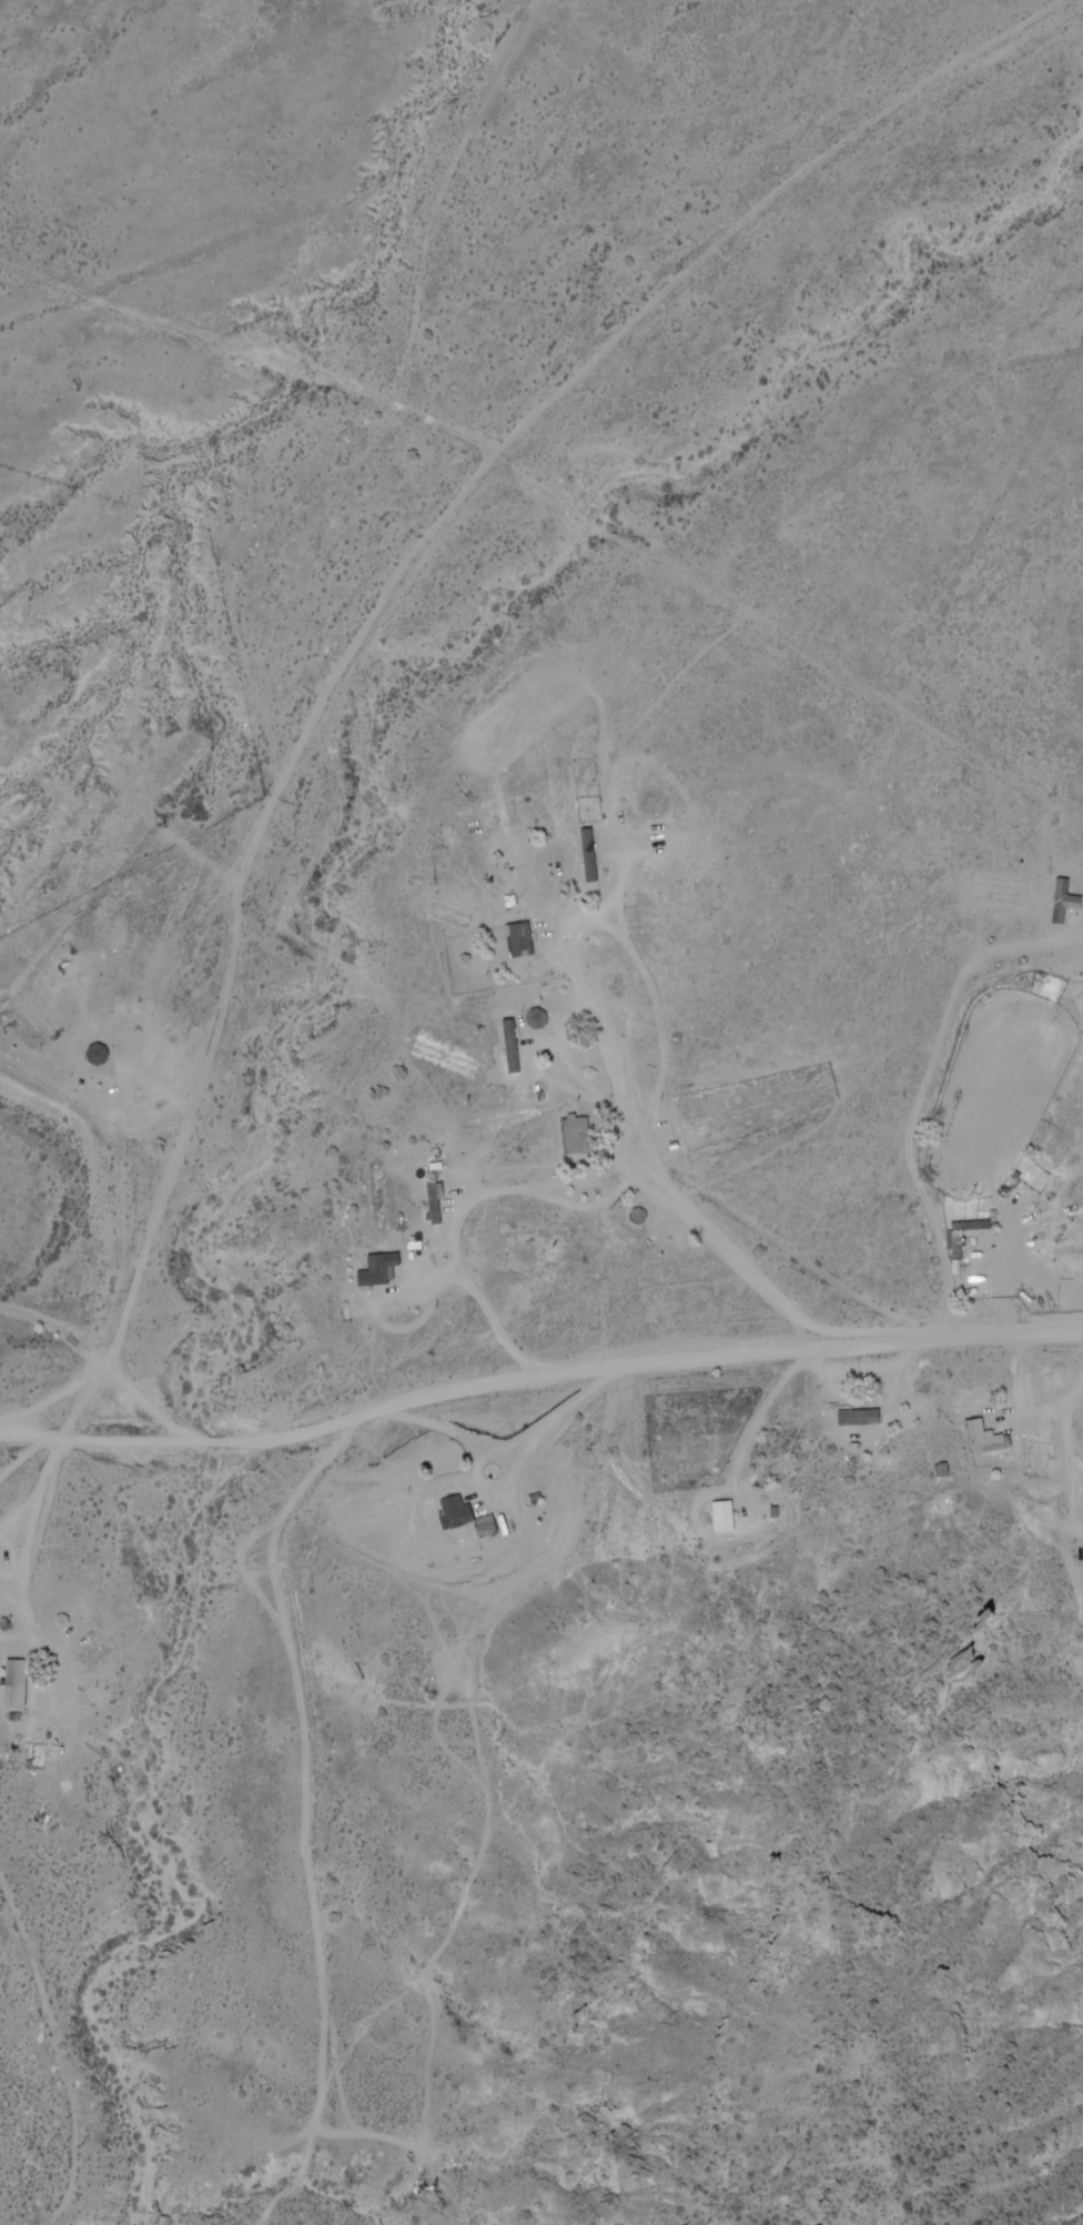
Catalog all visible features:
road: (313, 713)
building: (538, 1019)
building: (424, 1204)
building: (522, 1254)
building: (382, 1268)
road: (540, 1368)
building: (851, 1417)
building: (978, 1437)
building: (455, 1511)
building: (723, 1514)
building: (486, 1526)
building: (17, 1682)

